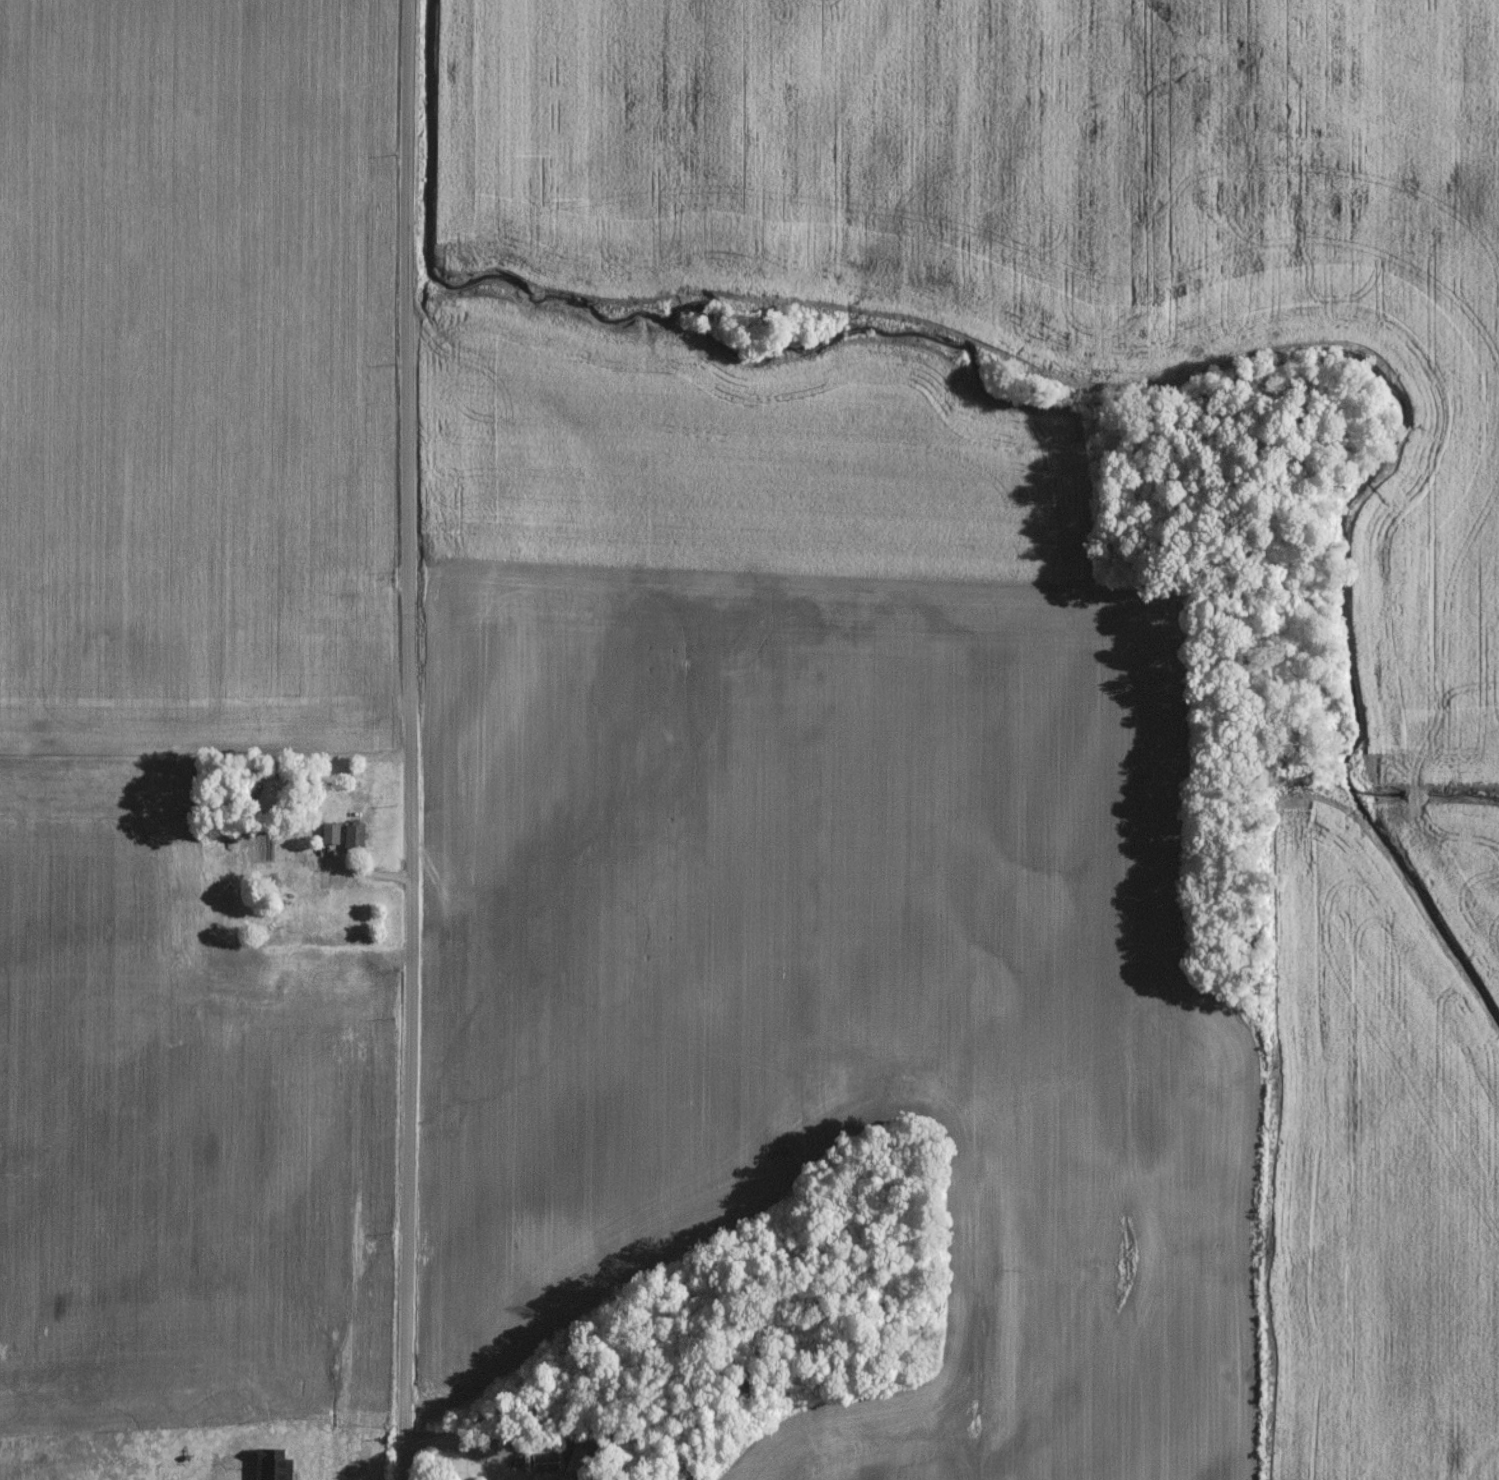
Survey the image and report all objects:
road: (408, 740)
building: (331, 836)
building: (355, 839)
road: (479, 1441)
building: (546, 1465)

